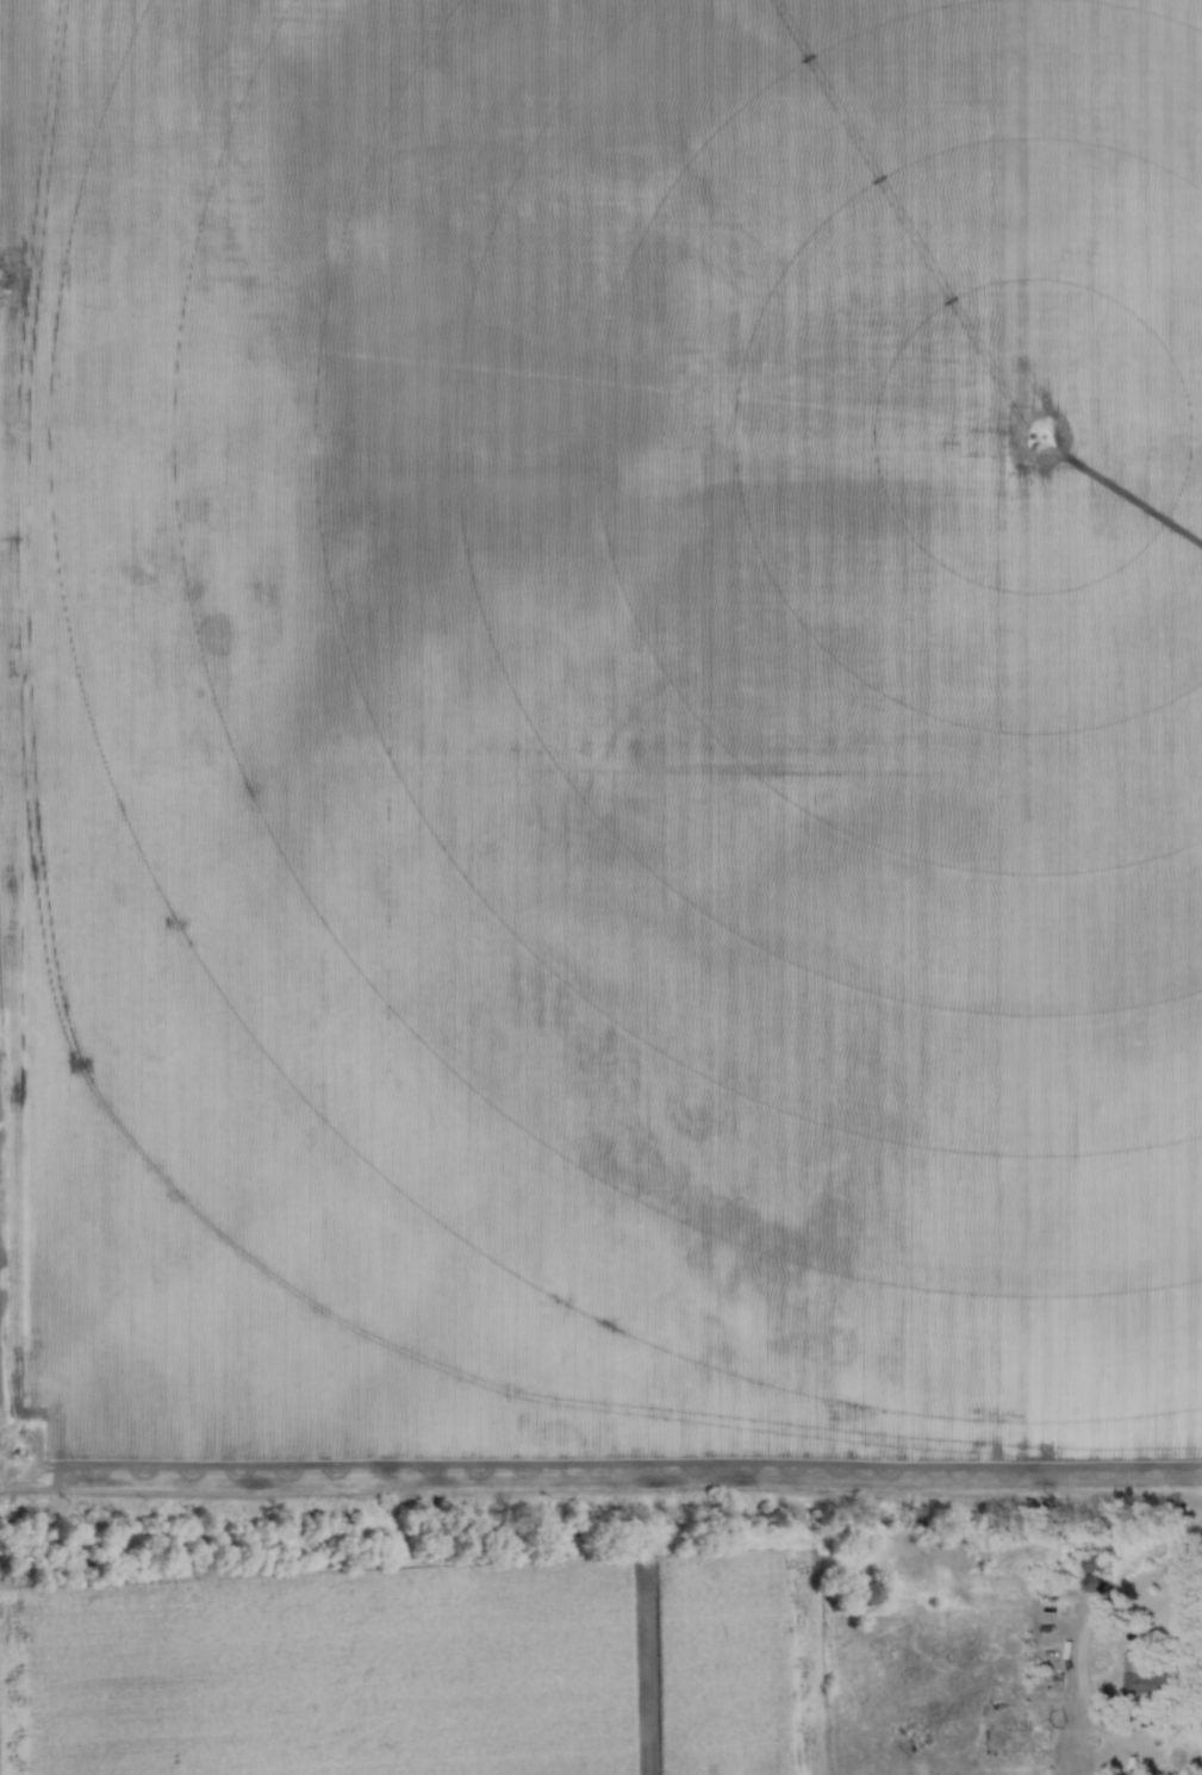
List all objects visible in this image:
building: (816, 1518)
building: (768, 1519)
road: (1195, 1537)
building: (860, 1595)
building: (1146, 1680)
road: (1148, 1732)

